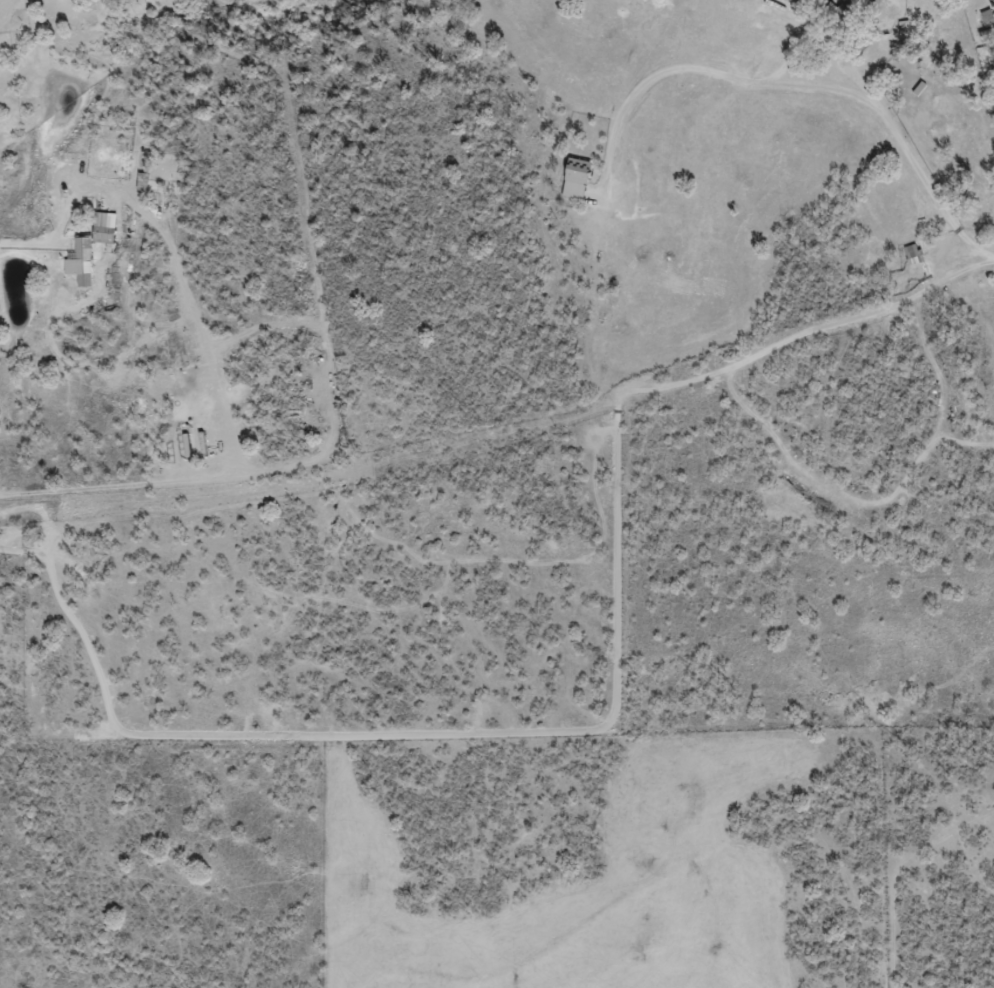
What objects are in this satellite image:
building: (646, 1)
building: (838, 18)
building: (988, 19)
road: (782, 95)
building: (577, 180)
building: (914, 256)
building: (83, 271)

